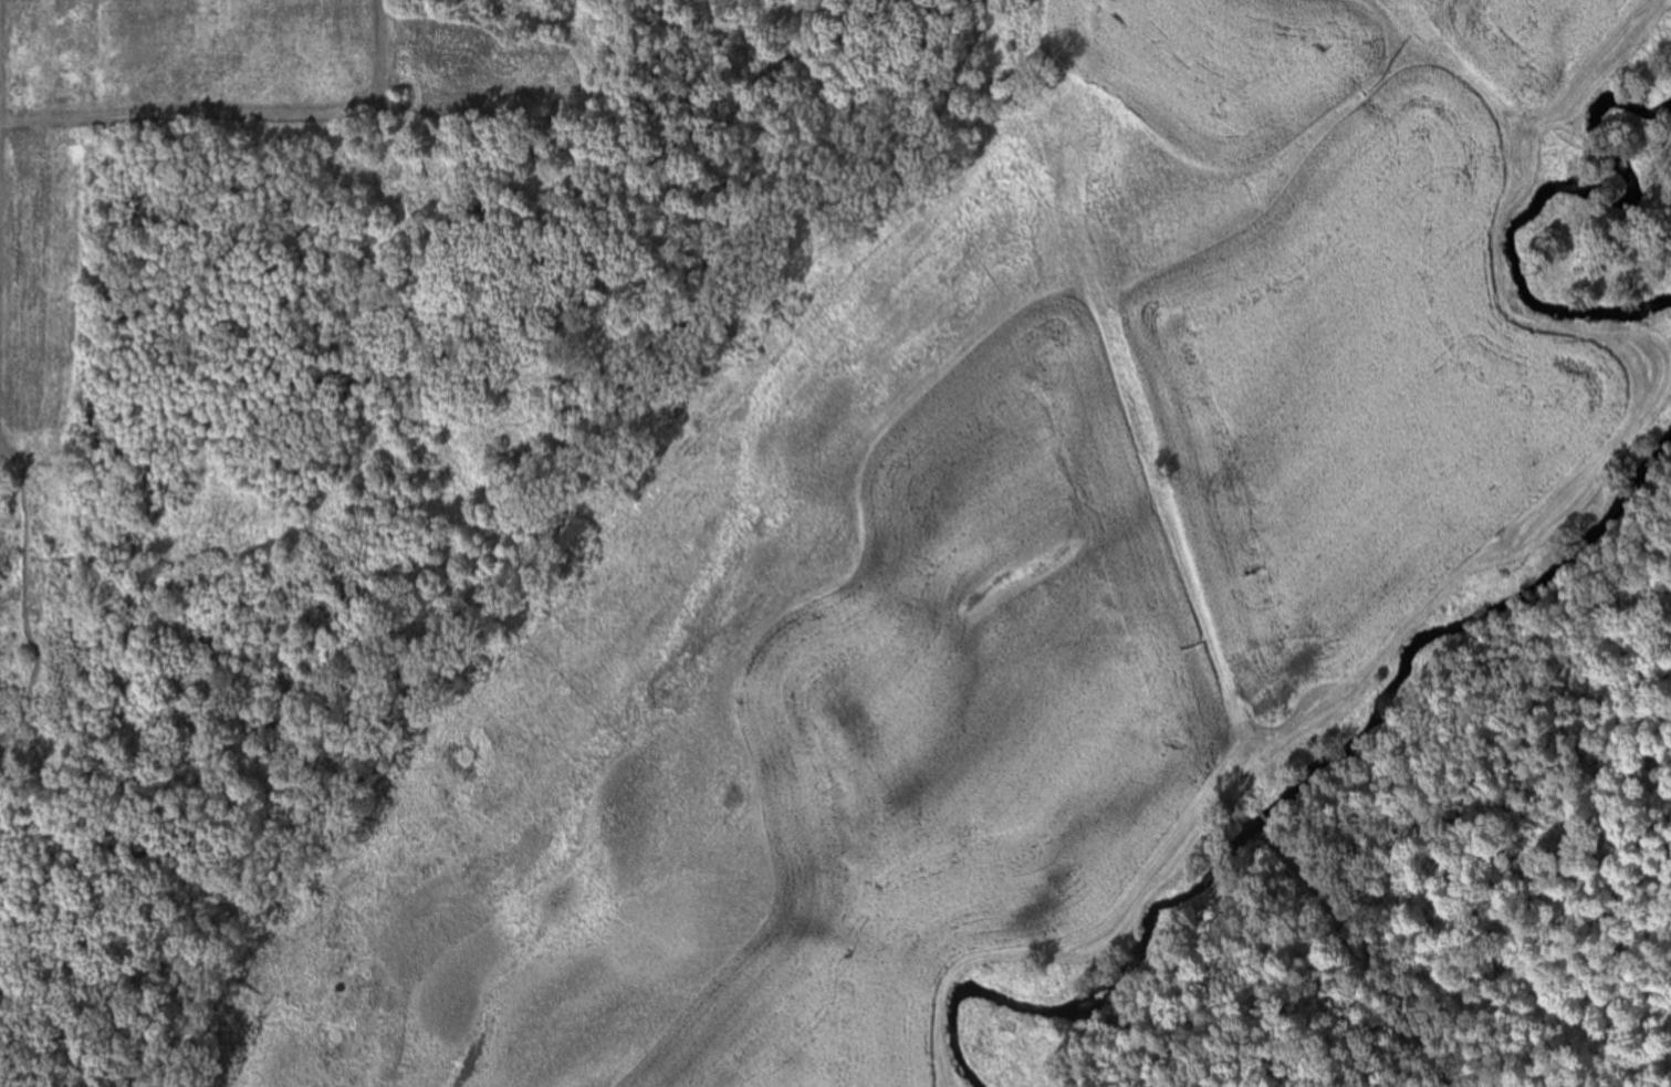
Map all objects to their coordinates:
road: (1345, 944)

